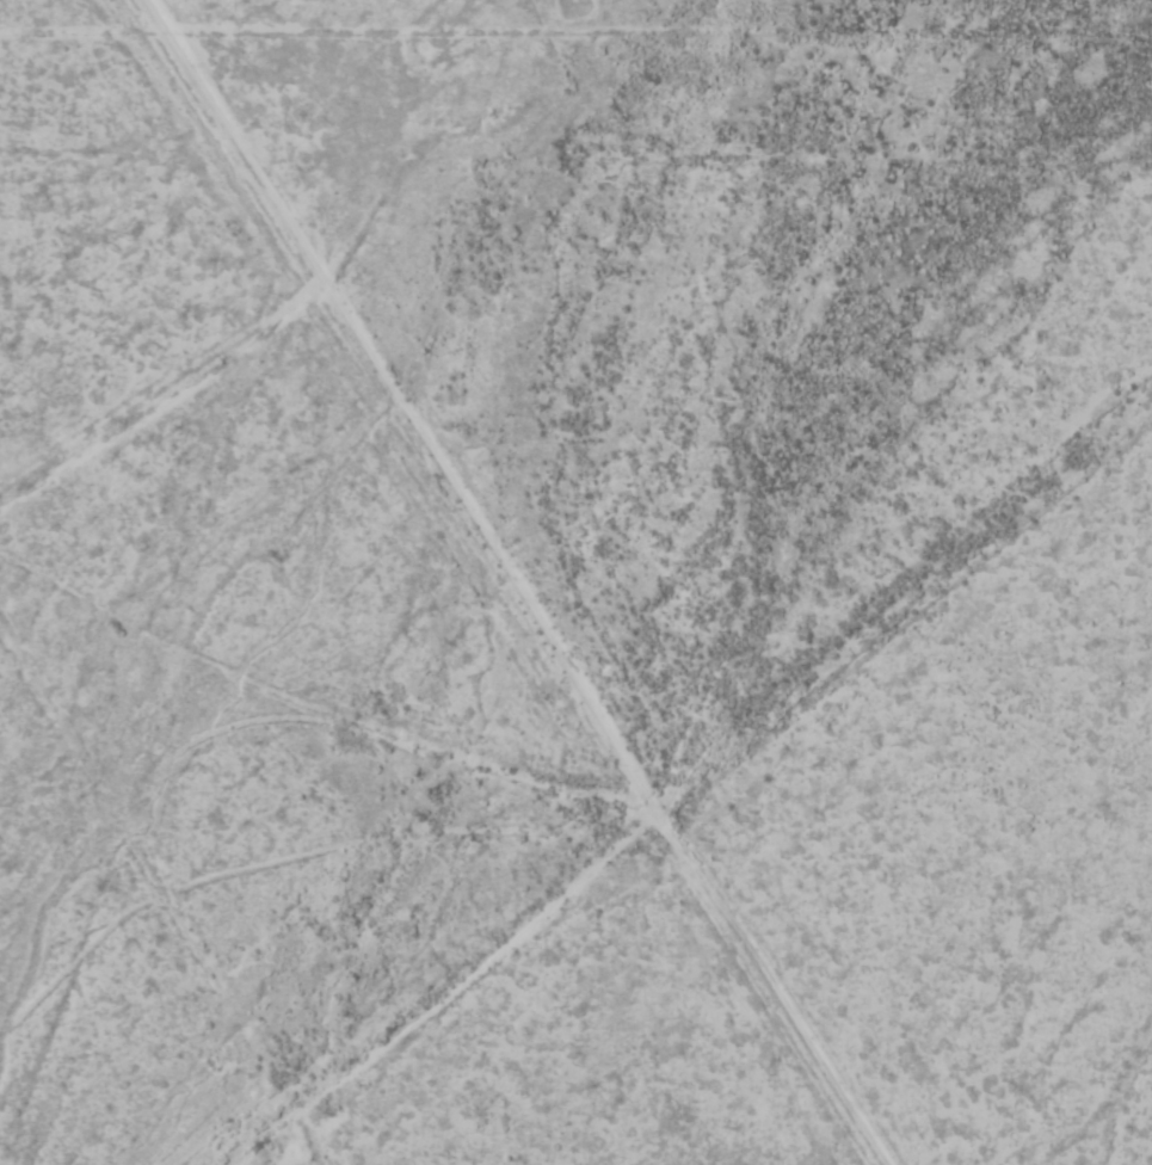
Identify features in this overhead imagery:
road: (485, 582)

